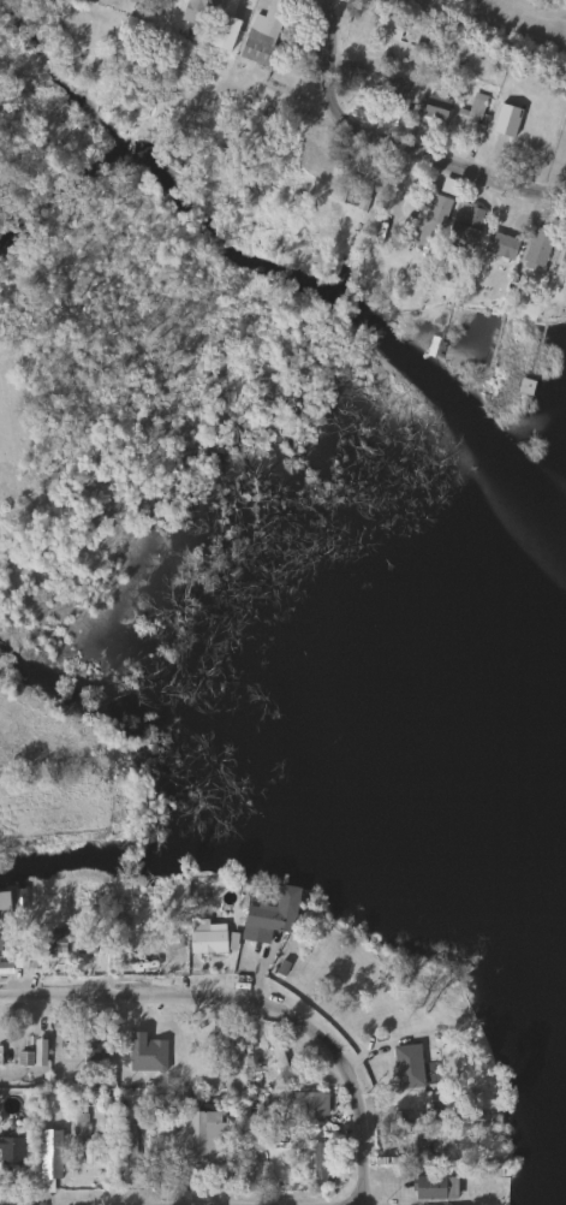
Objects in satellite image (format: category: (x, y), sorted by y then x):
building: (190, 17)
building: (386, 24)
building: (251, 32)
building: (424, 36)
building: (454, 51)
road: (323, 64)
building: (395, 91)
building: (434, 106)
building: (470, 115)
road: (452, 164)
building: (393, 213)
building: (429, 219)
building: (464, 224)
building: (499, 244)
building: (536, 249)
building: (564, 254)
building: (524, 386)
building: (274, 912)
building: (207, 937)
building: (84, 945)
road: (261, 1001)
building: (38, 1052)
building: (278, 1056)
building: (406, 1065)
building: (309, 1103)
building: (198, 1132)
building: (427, 1142)
building: (10, 1156)
building: (46, 1161)
building: (322, 1165)
building: (434, 1187)

